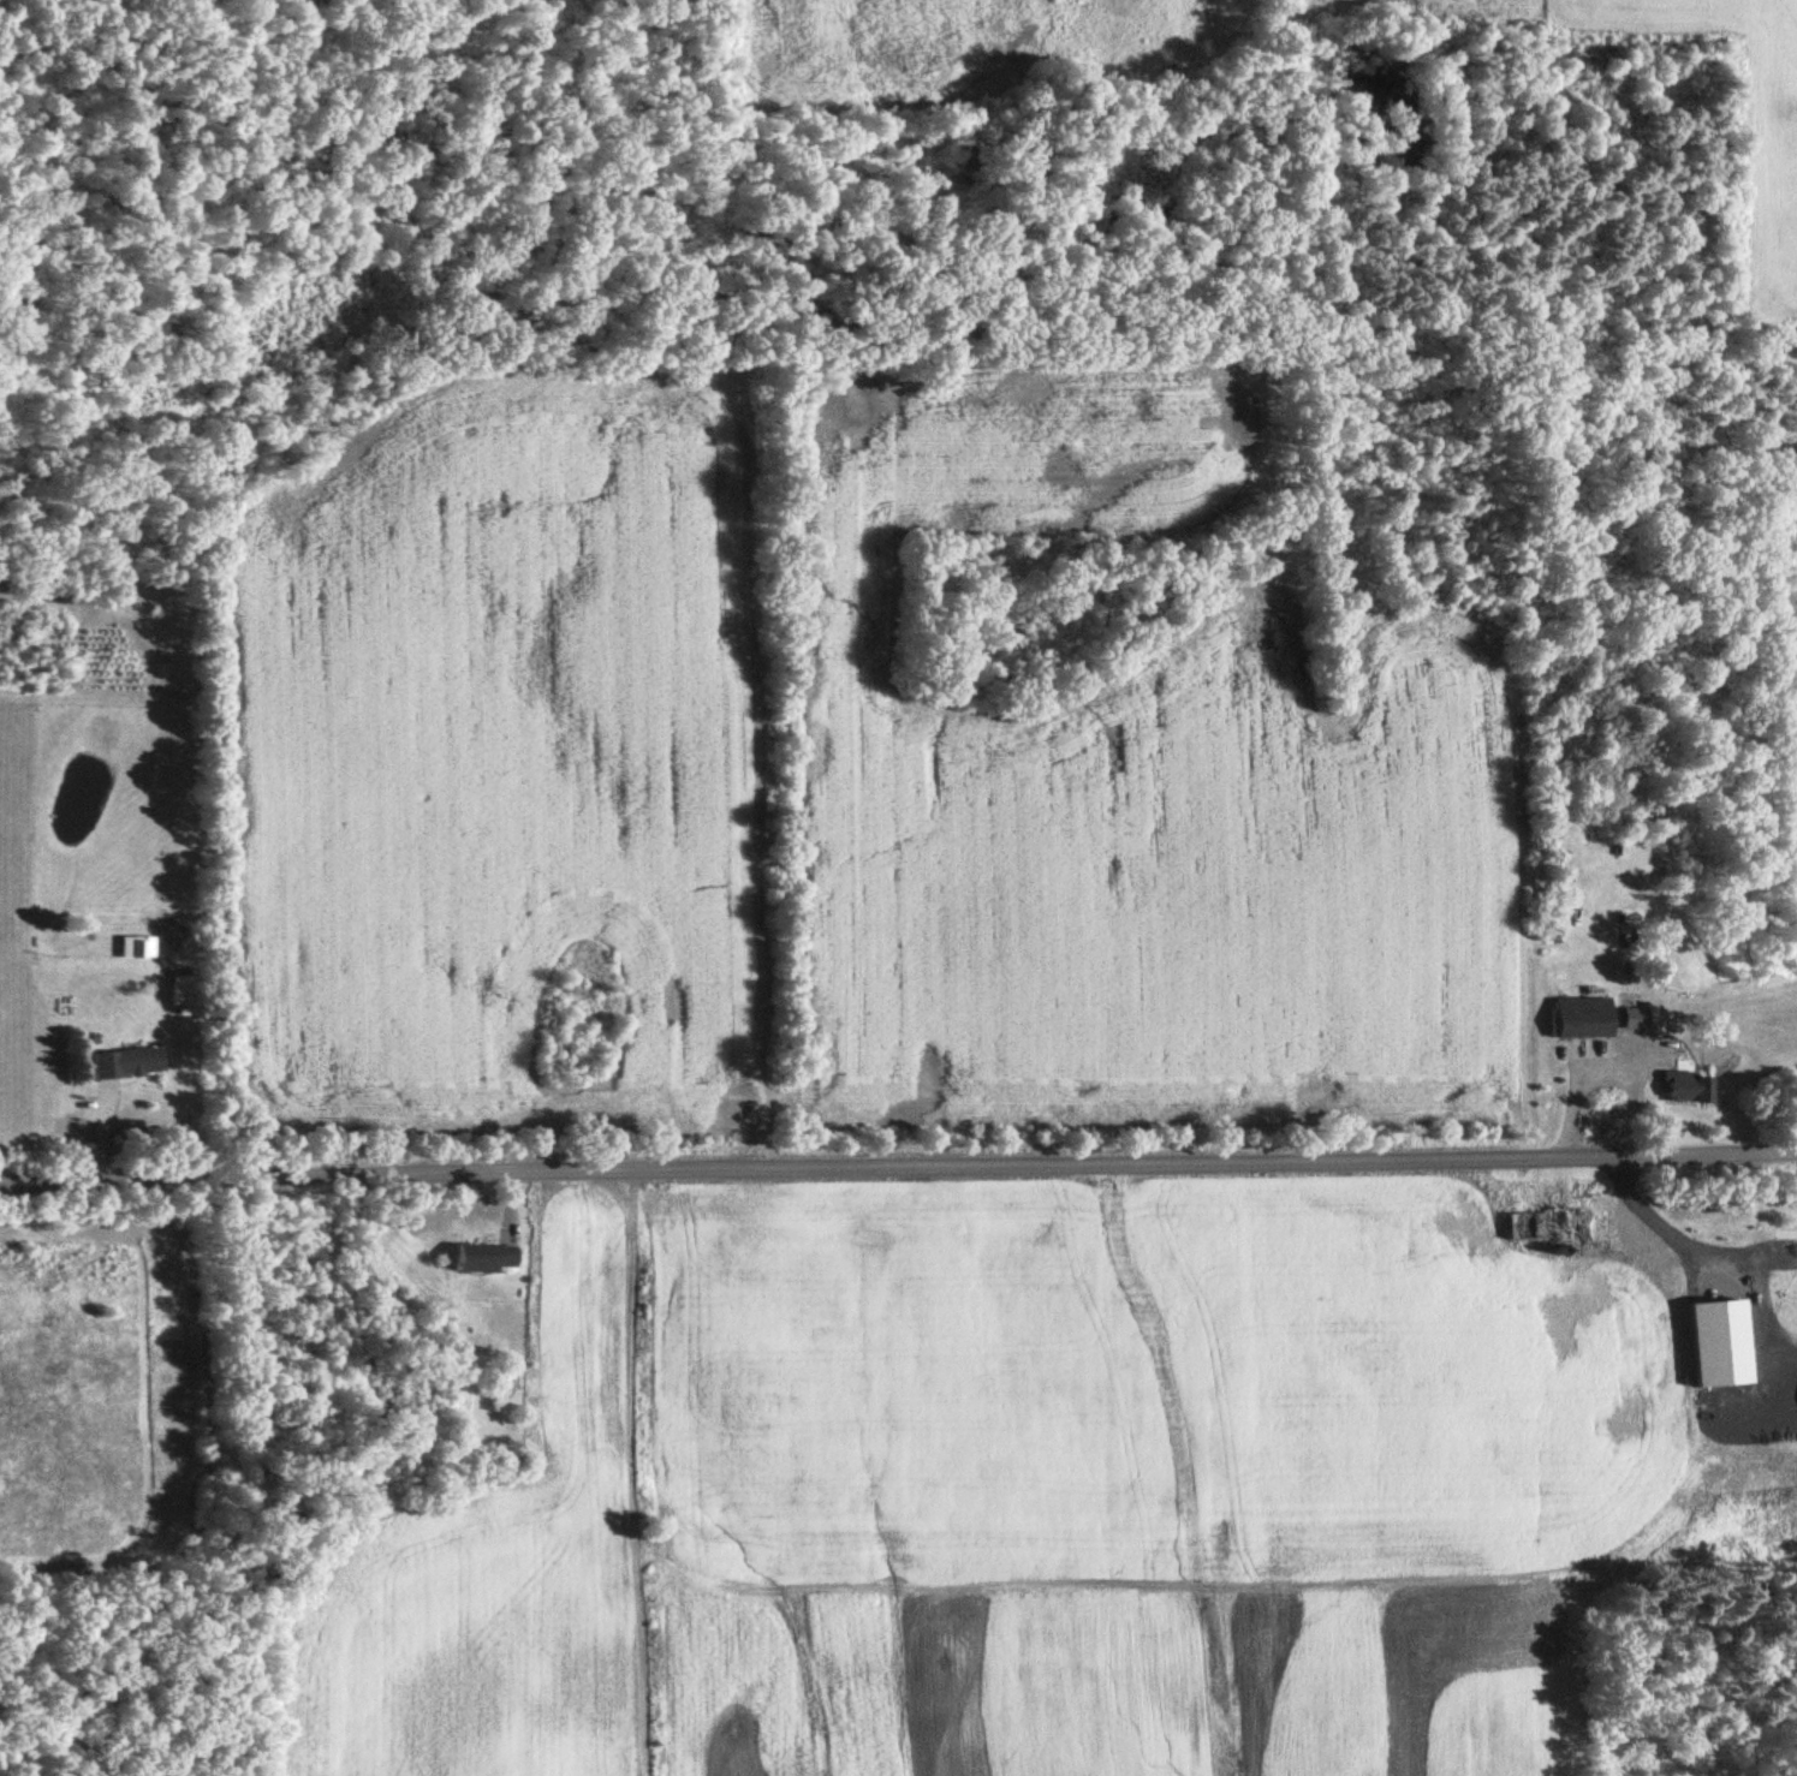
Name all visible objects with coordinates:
building: (172, 840)
building: (1564, 857)
building: (1588, 1017)
building: (1640, 1018)
building: (127, 1061)
road: (1603, 1074)
building: (1694, 1086)
road: (898, 1166)
building: (1554, 1226)
road: (1714, 1253)
building: (486, 1258)
building: (1613, 1279)

